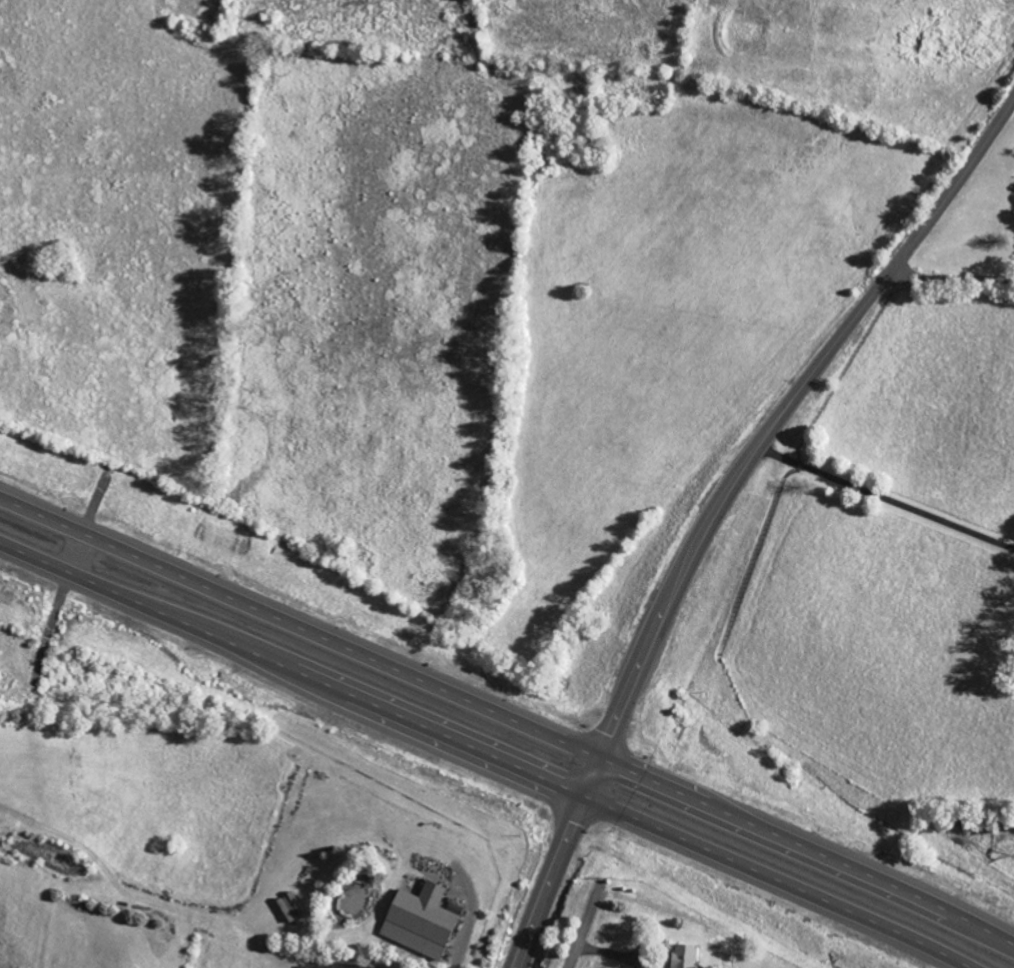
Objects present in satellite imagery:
road: (952, 274)
road: (885, 500)
road: (718, 506)
road: (507, 716)
road: (489, 753)
building: (288, 905)
building: (418, 920)
building: (682, 956)

